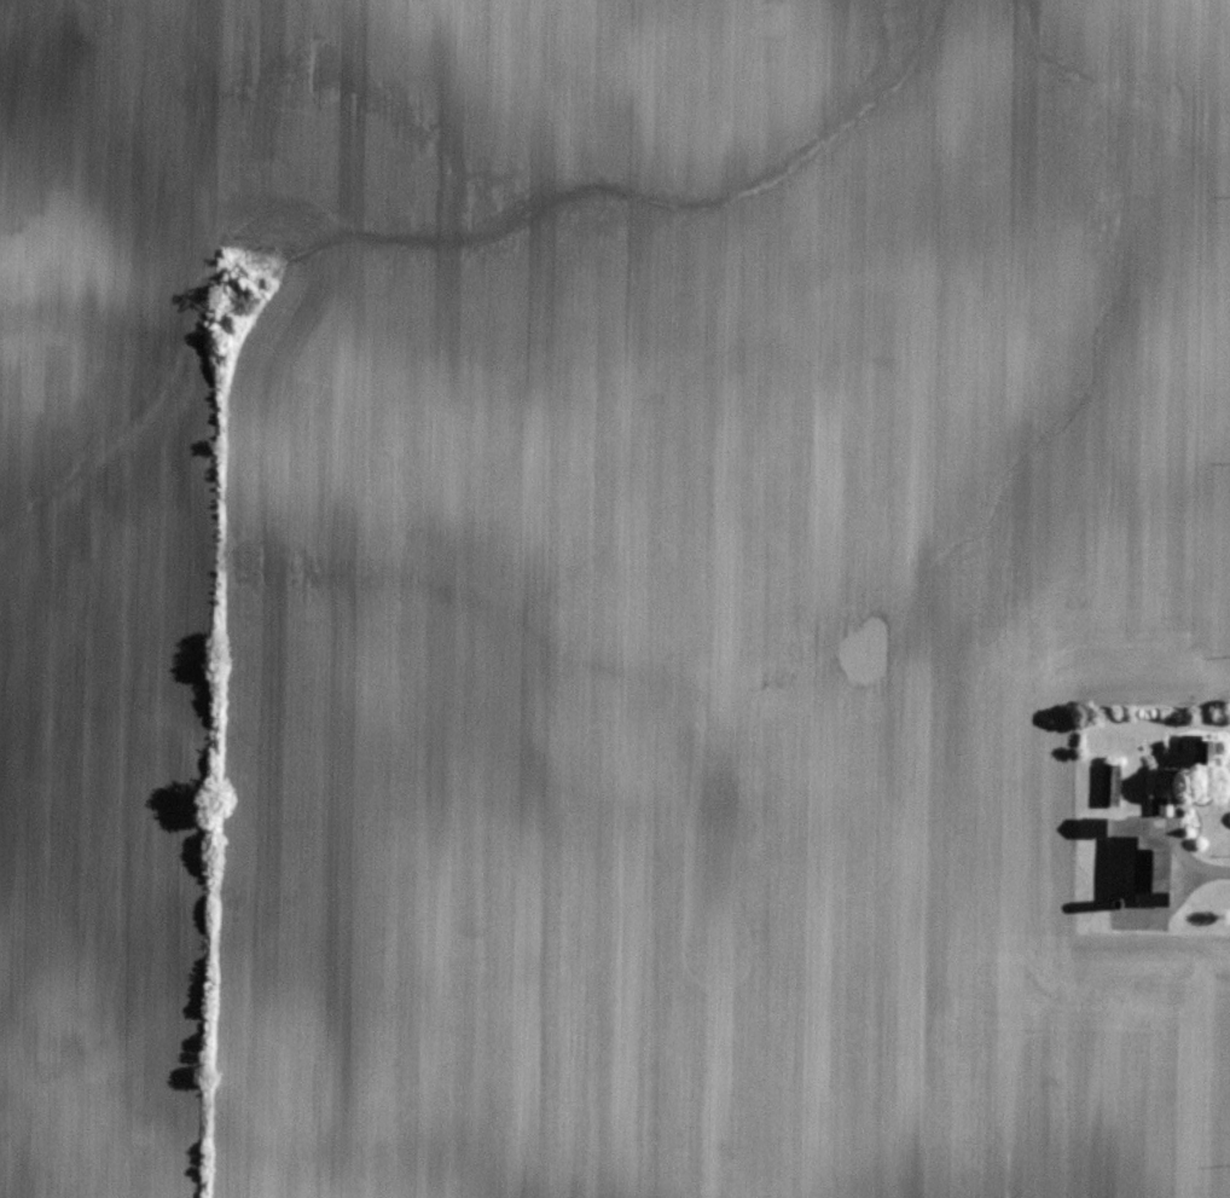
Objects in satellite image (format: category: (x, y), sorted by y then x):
road: (1174, 821)

